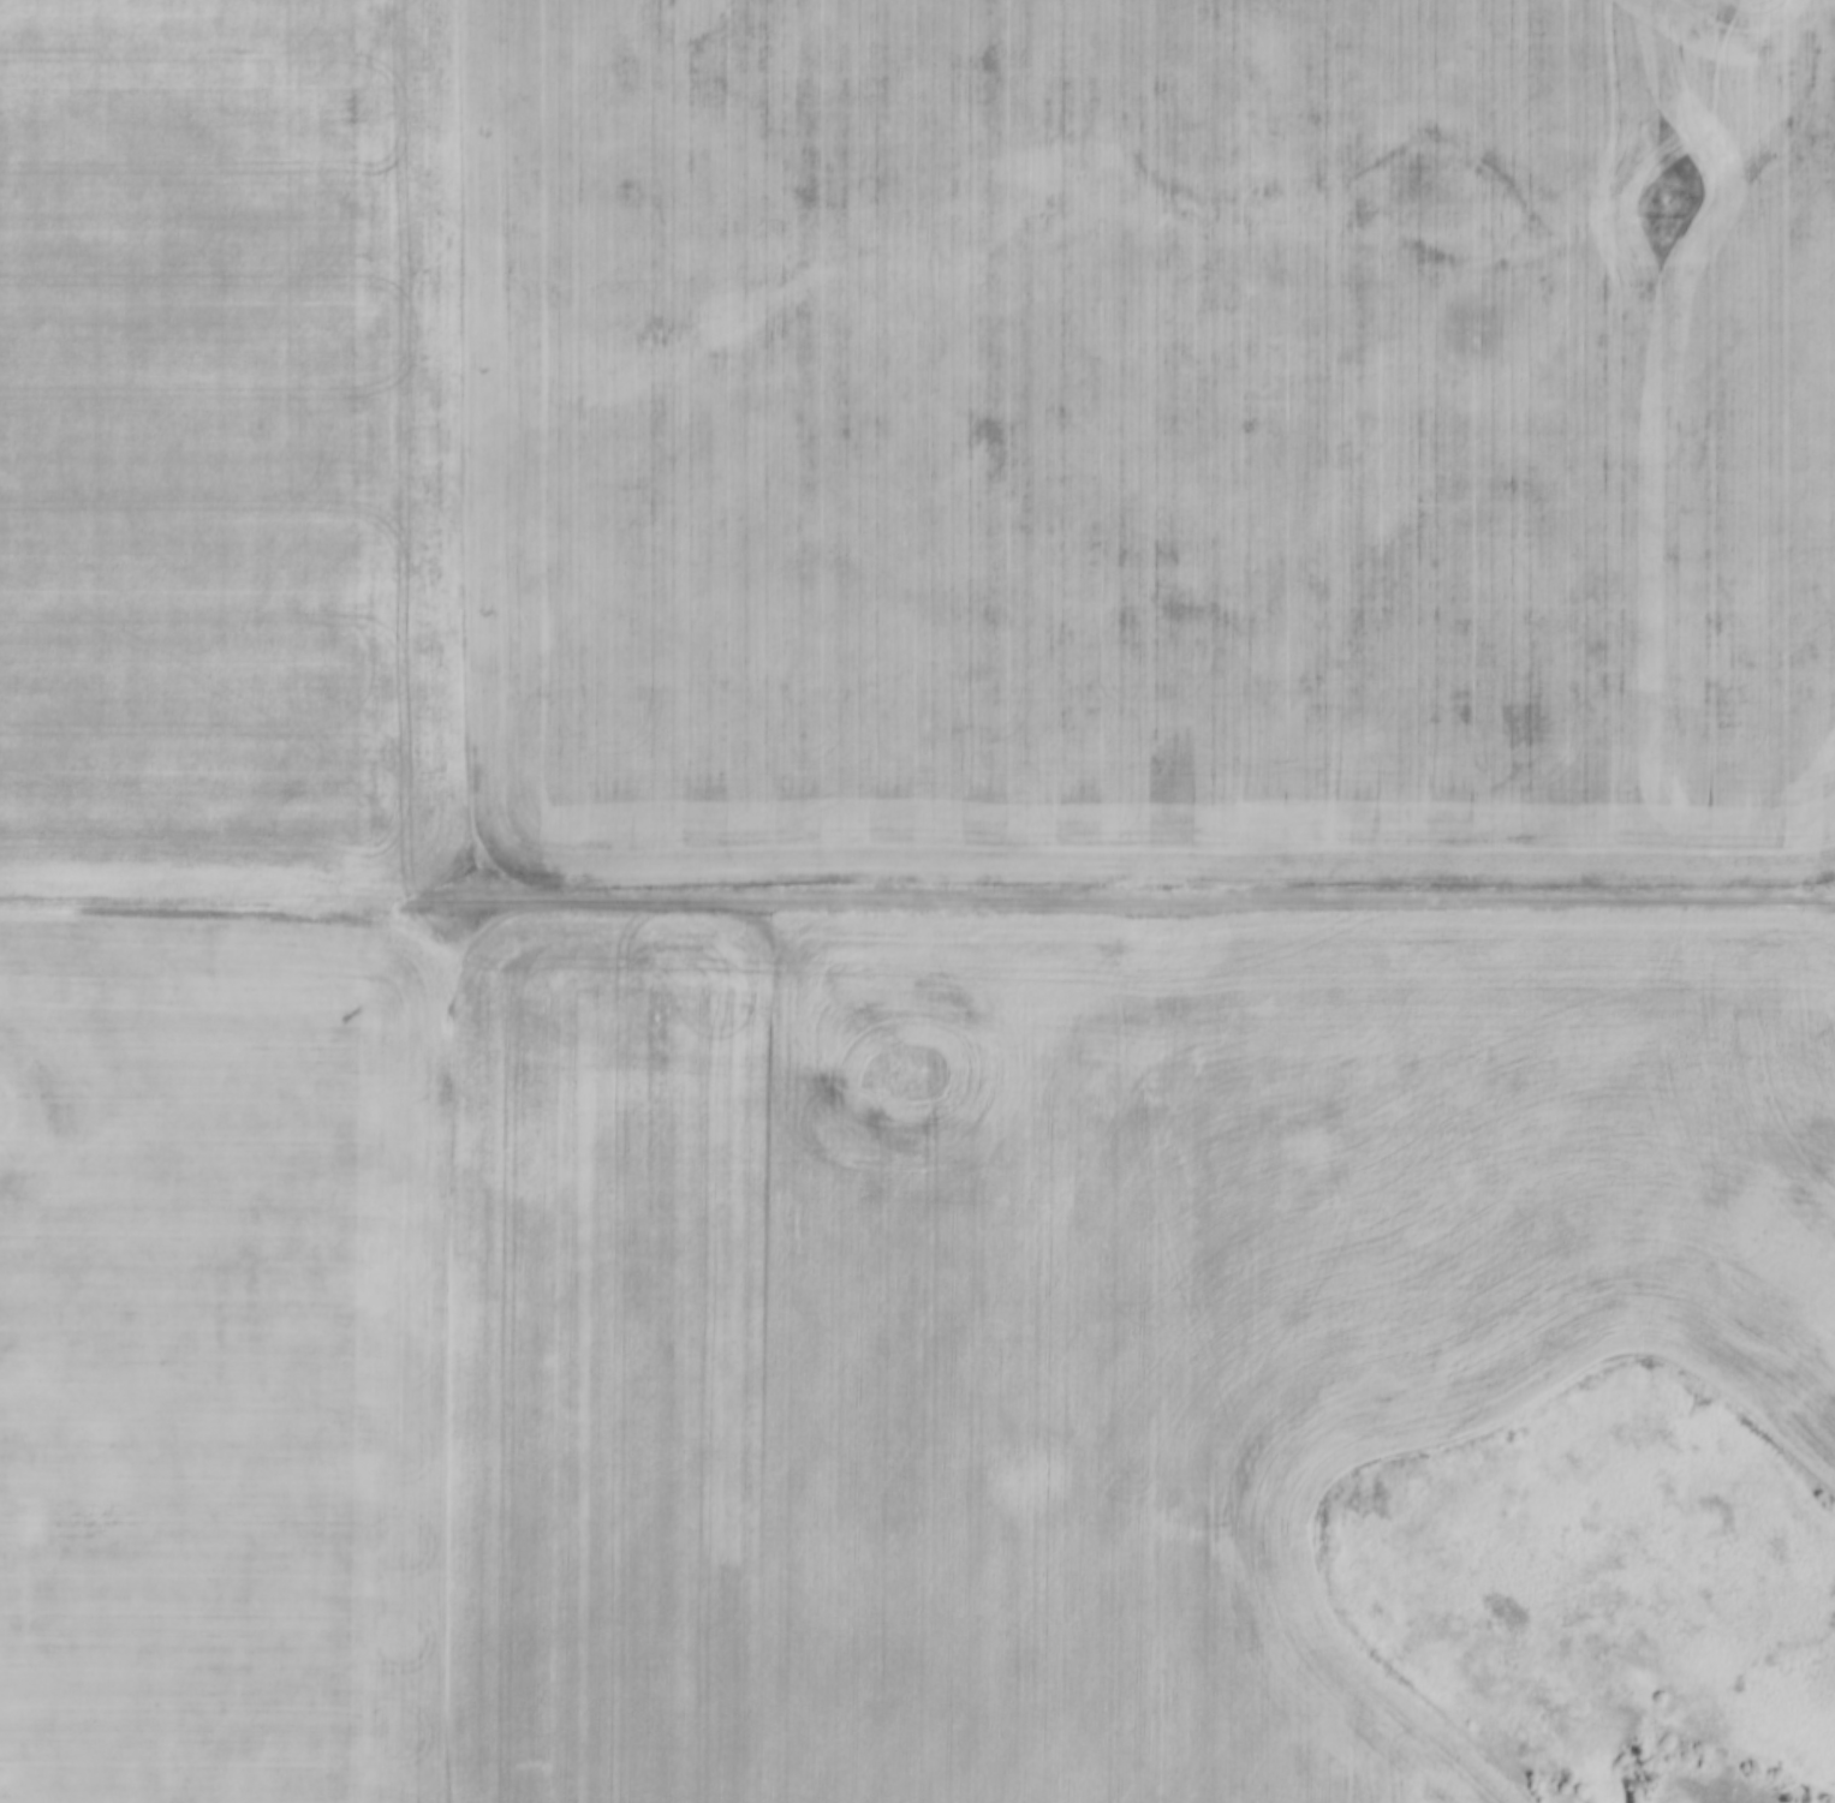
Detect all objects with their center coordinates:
road: (917, 898)

